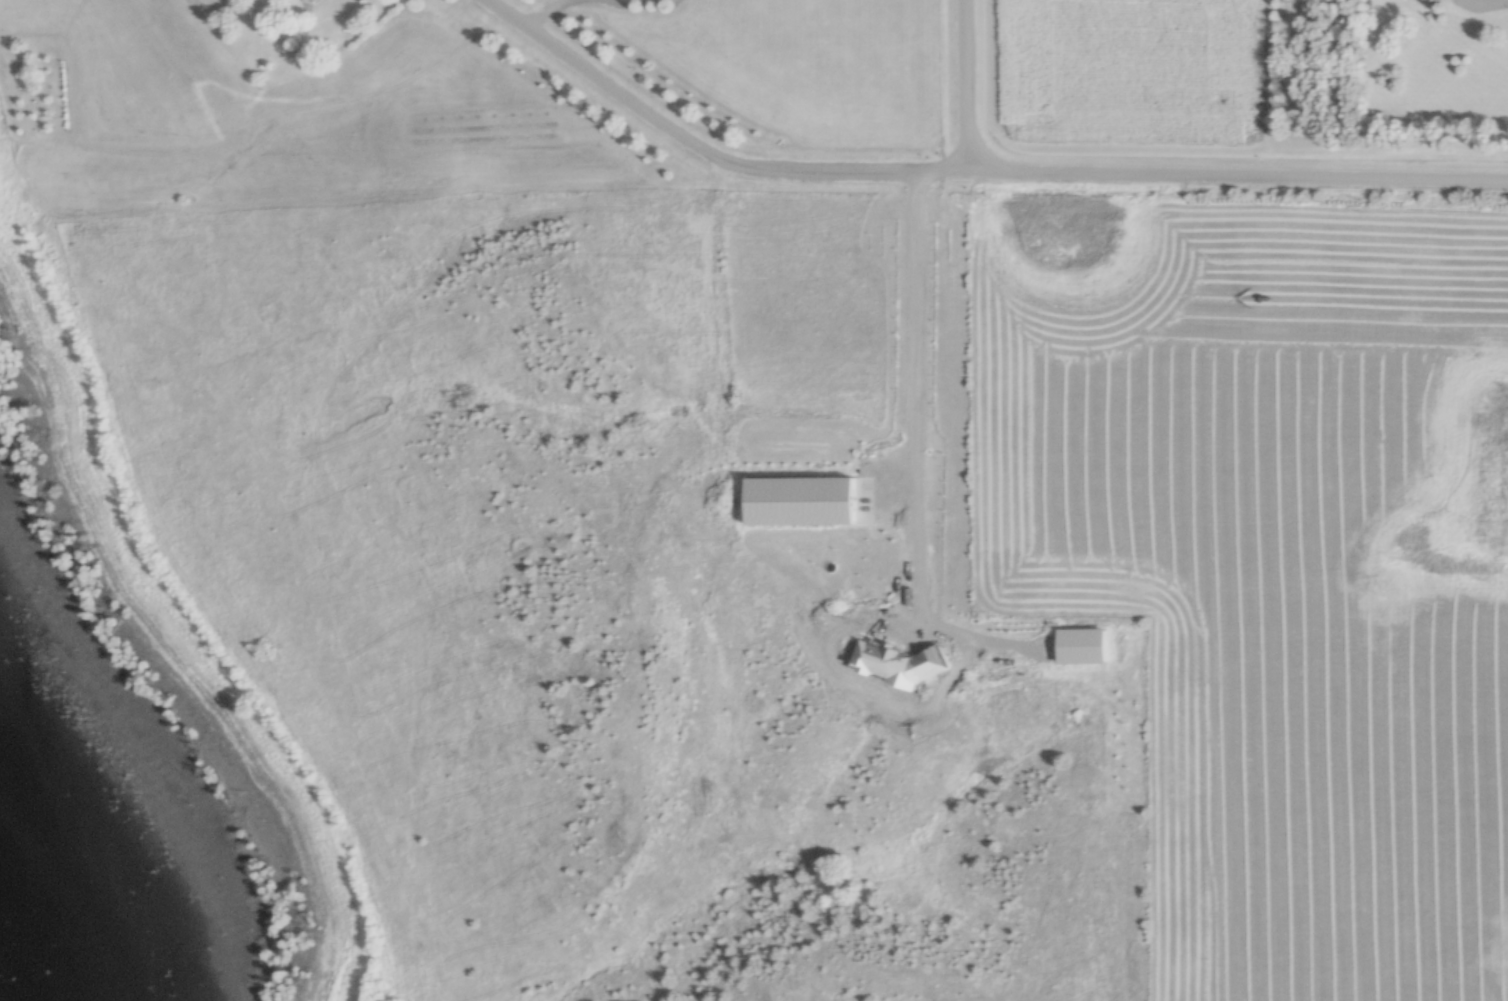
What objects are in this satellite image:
road: (1487, 5)
road: (941, 96)
road: (1222, 184)
building: (946, 623)

